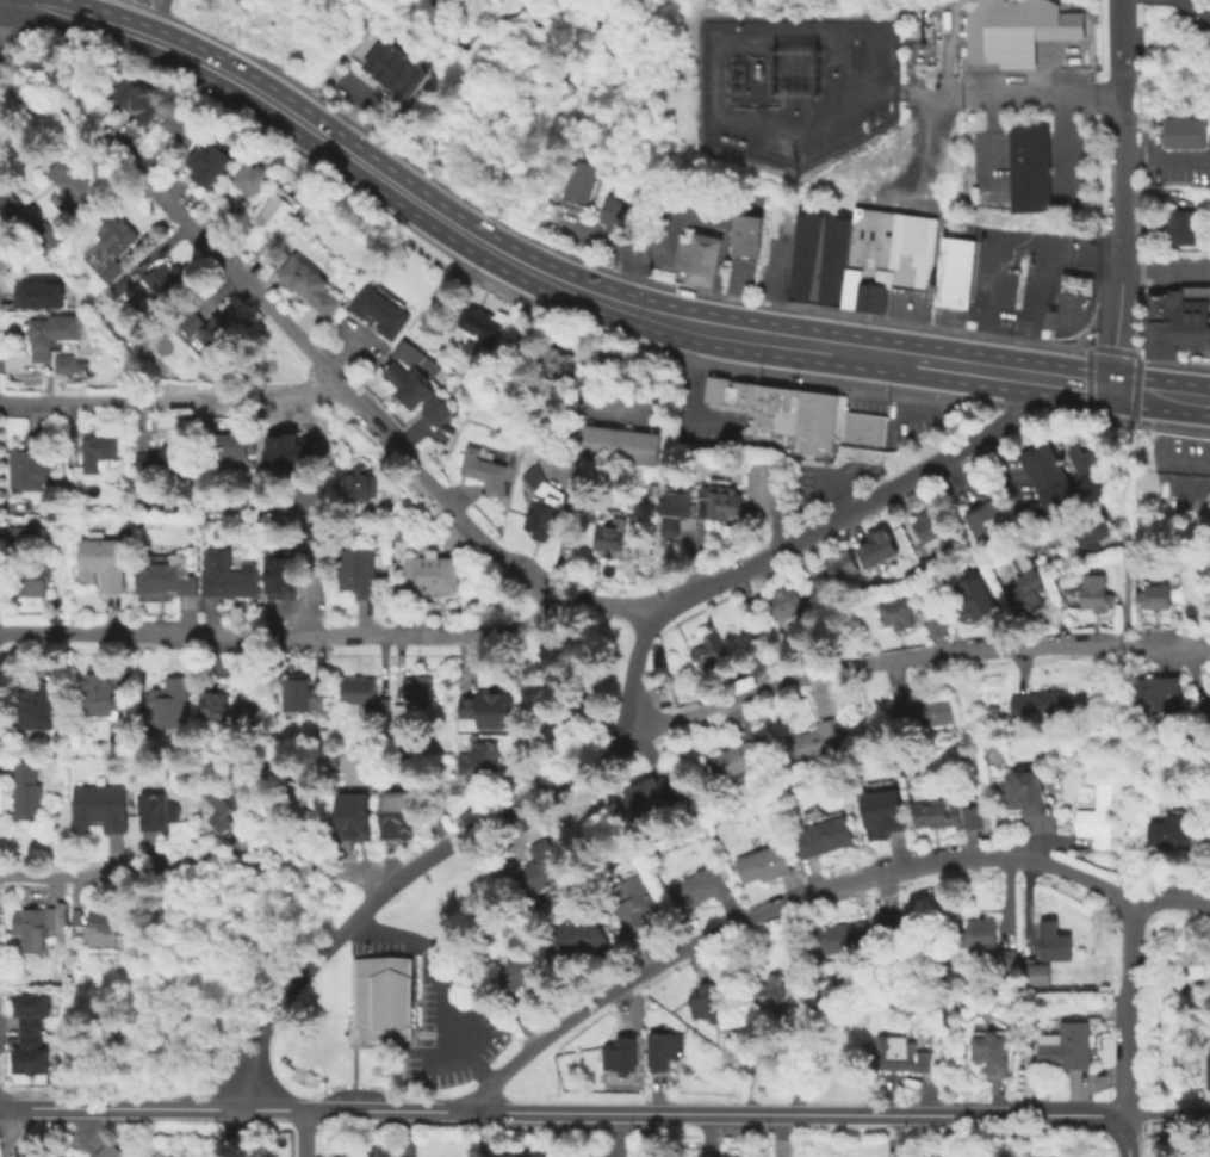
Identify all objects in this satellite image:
road: (0, 0)
road: (0, 2)
road: (166, 13)
road: (1195, 16)
building: (1012, 30)
road: (6, 32)
road: (147, 38)
road: (1121, 39)
building: (377, 54)
building: (387, 62)
building: (399, 72)
road: (54, 75)
building: (411, 81)
power substation: (794, 89)
road: (1042, 91)
building: (139, 99)
building: (181, 128)
building: (1181, 131)
road: (1059, 143)
road: (336, 147)
road: (1123, 157)
road: (1166, 159)
building: (207, 160)
parking lot: (1174, 163)
building: (1028, 169)
building: (249, 175)
building: (577, 184)
building: (70, 186)
road: (11, 208)
building: (275, 211)
building: (231, 214)
building: (614, 216)
building: (783, 217)
building: (1178, 227)
building: (42, 236)
road: (594, 237)
road: (665, 237)
building: (743, 239)
road: (1018, 243)
building: (107, 247)
road: (502, 255)
building: (882, 259)
building: (682, 260)
building: (814, 264)
building: (702, 265)
parking lot: (1175, 265)
road: (1127, 267)
building: (948, 274)
parking lot: (1010, 277)
building: (165, 280)
building: (306, 284)
building: (119, 285)
road: (625, 287)
building: (1073, 287)
building: (37, 293)
building: (377, 309)
road: (641, 311)
road: (1117, 313)
road: (854, 315)
building: (1068, 315)
road: (671, 320)
building: (187, 321)
building: (1175, 321)
building: (476, 323)
road: (699, 326)
building: (217, 332)
building: (38, 338)
road: (776, 339)
road: (1111, 349)
road: (879, 354)
road: (1173, 360)
building: (63, 364)
building: (557, 364)
road: (948, 364)
road: (322, 365)
road: (1005, 372)
road: (590, 376)
road: (871, 377)
street lamp: (757, 378)
building: (414, 379)
road: (774, 382)
road: (1072, 382)
road: (1085, 382)
building: (713, 384)
road: (913, 384)
traffic signals: (1111, 388)
road: (1123, 389)
road: (1135, 389)
building: (751, 390)
road: (864, 394)
road: (1172, 394)
road: (685, 395)
road: (889, 397)
road: (172, 400)
building: (713, 400)
road: (913, 400)
building: (738, 403)
road: (966, 404)
building: (535, 407)
road: (1017, 408)
road: (1061, 414)
building: (834, 416)
building: (774, 417)
road: (1109, 421)
building: (812, 422)
building: (861, 428)
road: (1171, 429)
building: (231, 445)
building: (618, 447)
building: (94, 450)
building: (290, 450)
building: (165, 459)
building: (30, 464)
building: (1087, 468)
building: (482, 470)
building: (761, 472)
building: (1047, 476)
building: (606, 481)
building: (58, 482)
parking lot: (829, 482)
building: (358, 483)
building: (716, 500)
road: (1121, 500)
building: (1206, 500)
building: (662, 501)
building: (757, 501)
building: (680, 503)
building: (539, 505)
building: (60, 507)
road: (856, 509)
road: (777, 513)
building: (50, 516)
building: (988, 522)
building: (924, 524)
building: (1088, 531)
building: (609, 537)
building: (13, 540)
building: (874, 545)
building: (1049, 559)
building: (100, 562)
building: (838, 564)
building: (355, 571)
building: (163, 573)
building: (223, 575)
building: (284, 576)
building: (33, 578)
building: (430, 578)
building: (1023, 581)
road: (311, 584)
road: (1127, 588)
building: (1092, 592)
building: (973, 594)
building: (1153, 595)
building: (786, 599)
road: (604, 606)
building: (893, 611)
building: (935, 625)
road: (281, 633)
road: (1167, 642)
road: (1062, 645)
building: (705, 651)
road: (876, 661)
building: (758, 662)
road: (633, 668)
road: (1119, 683)
building: (418, 688)
building: (358, 689)
building: (302, 691)
building: (1160, 693)
road: (548, 700)
building: (1036, 700)
building: (105, 701)
building: (215, 703)
building: (39, 705)
building: (167, 705)
building: (384, 706)
building: (247, 707)
building: (491, 711)
road: (699, 713)
road: (1121, 713)
building: (919, 717)
building: (401, 719)
building: (815, 740)
road: (1123, 754)
building: (739, 757)
building: (480, 759)
building: (652, 787)
building: (1022, 790)
building: (25, 791)
road: (1123, 792)
building: (223, 803)
building: (99, 806)
building: (298, 808)
building: (945, 810)
building: (156, 811)
building: (880, 812)
building: (397, 813)
building: (352, 815)
building: (1094, 816)
building: (819, 835)
building: (1169, 836)
building: (1208, 836)
road: (1128, 850)
building: (759, 862)
building: (538, 868)
road: (196, 873)
road: (398, 880)
building: (697, 885)
road: (817, 895)
building: (634, 901)
building: (39, 924)
building: (443, 924)
building: (896, 926)
building: (99, 927)
building: (578, 934)
building: (843, 934)
building: (1050, 939)
building: (986, 942)
road: (405, 955)
road: (370, 957)
building: (1186, 966)
building: (1034, 971)
building: (513, 975)
road: (446, 979)
building: (772, 992)
building: (1197, 992)
building: (1007, 996)
building: (379, 998)
building: (707, 998)
road: (621, 1006)
road: (1124, 1006)
building: (29, 1009)
parking lot: (436, 1010)
road: (409, 1033)
road: (422, 1033)
road: (768, 1034)
road: (379, 1044)
building: (659, 1047)
building: (1060, 1048)
building: (988, 1051)
building: (620, 1052)
building: (901, 1053)
building: (27, 1054)
street lamp: (492, 1060)
road: (352, 1064)
building: (1206, 1071)
road: (656, 1091)
parking lot: (354, 1093)
road: (117, 1106)
road: (360, 1106)
road: (805, 1110)
road: (1167, 1113)
road: (300, 1131)
road: (231, 1132)
road: (14, 1133)
road: (559, 1133)
road: (1124, 1134)
building: (110, 1150)
building: (160, 1153)
building: (520, 1155)
building: (69, 1156)
building: (72, 1156)

